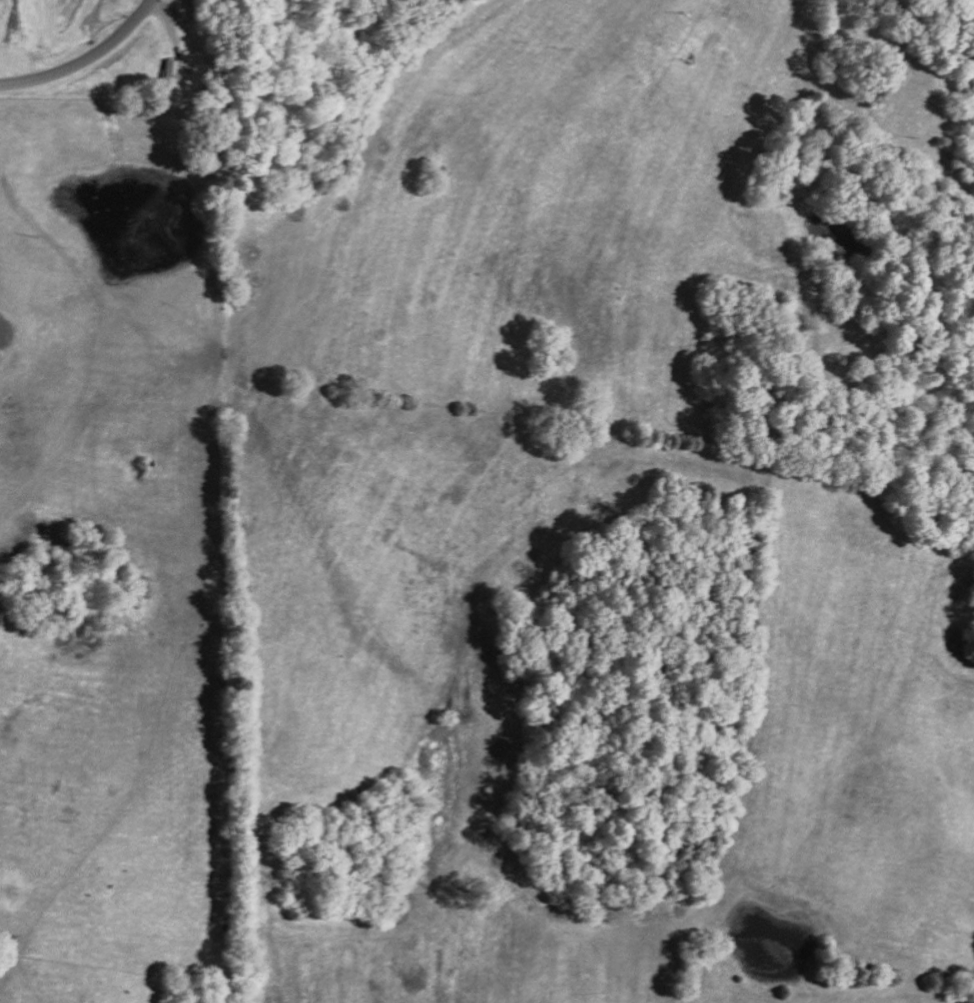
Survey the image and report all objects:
road: (85, 59)
building: (173, 75)

